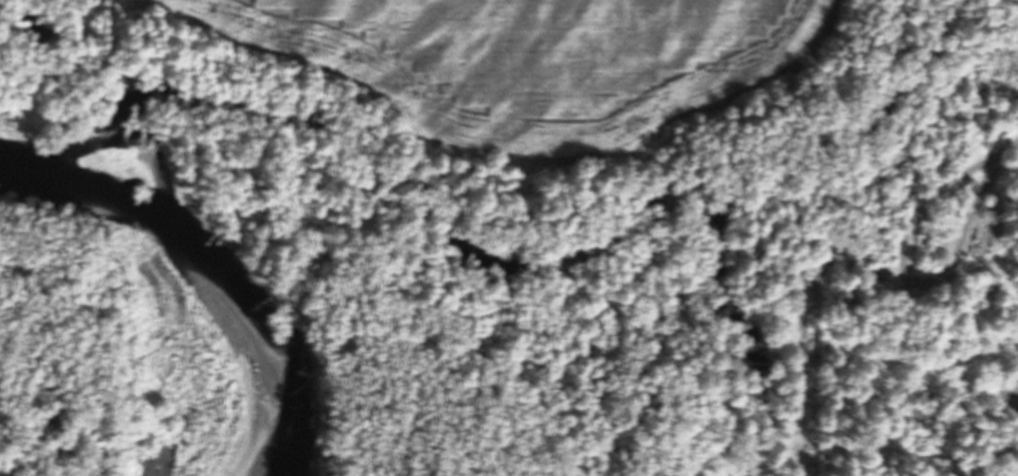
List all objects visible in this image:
crop: (530, 60)
building: (879, 276)
park: (652, 281)
river: (86, 339)

